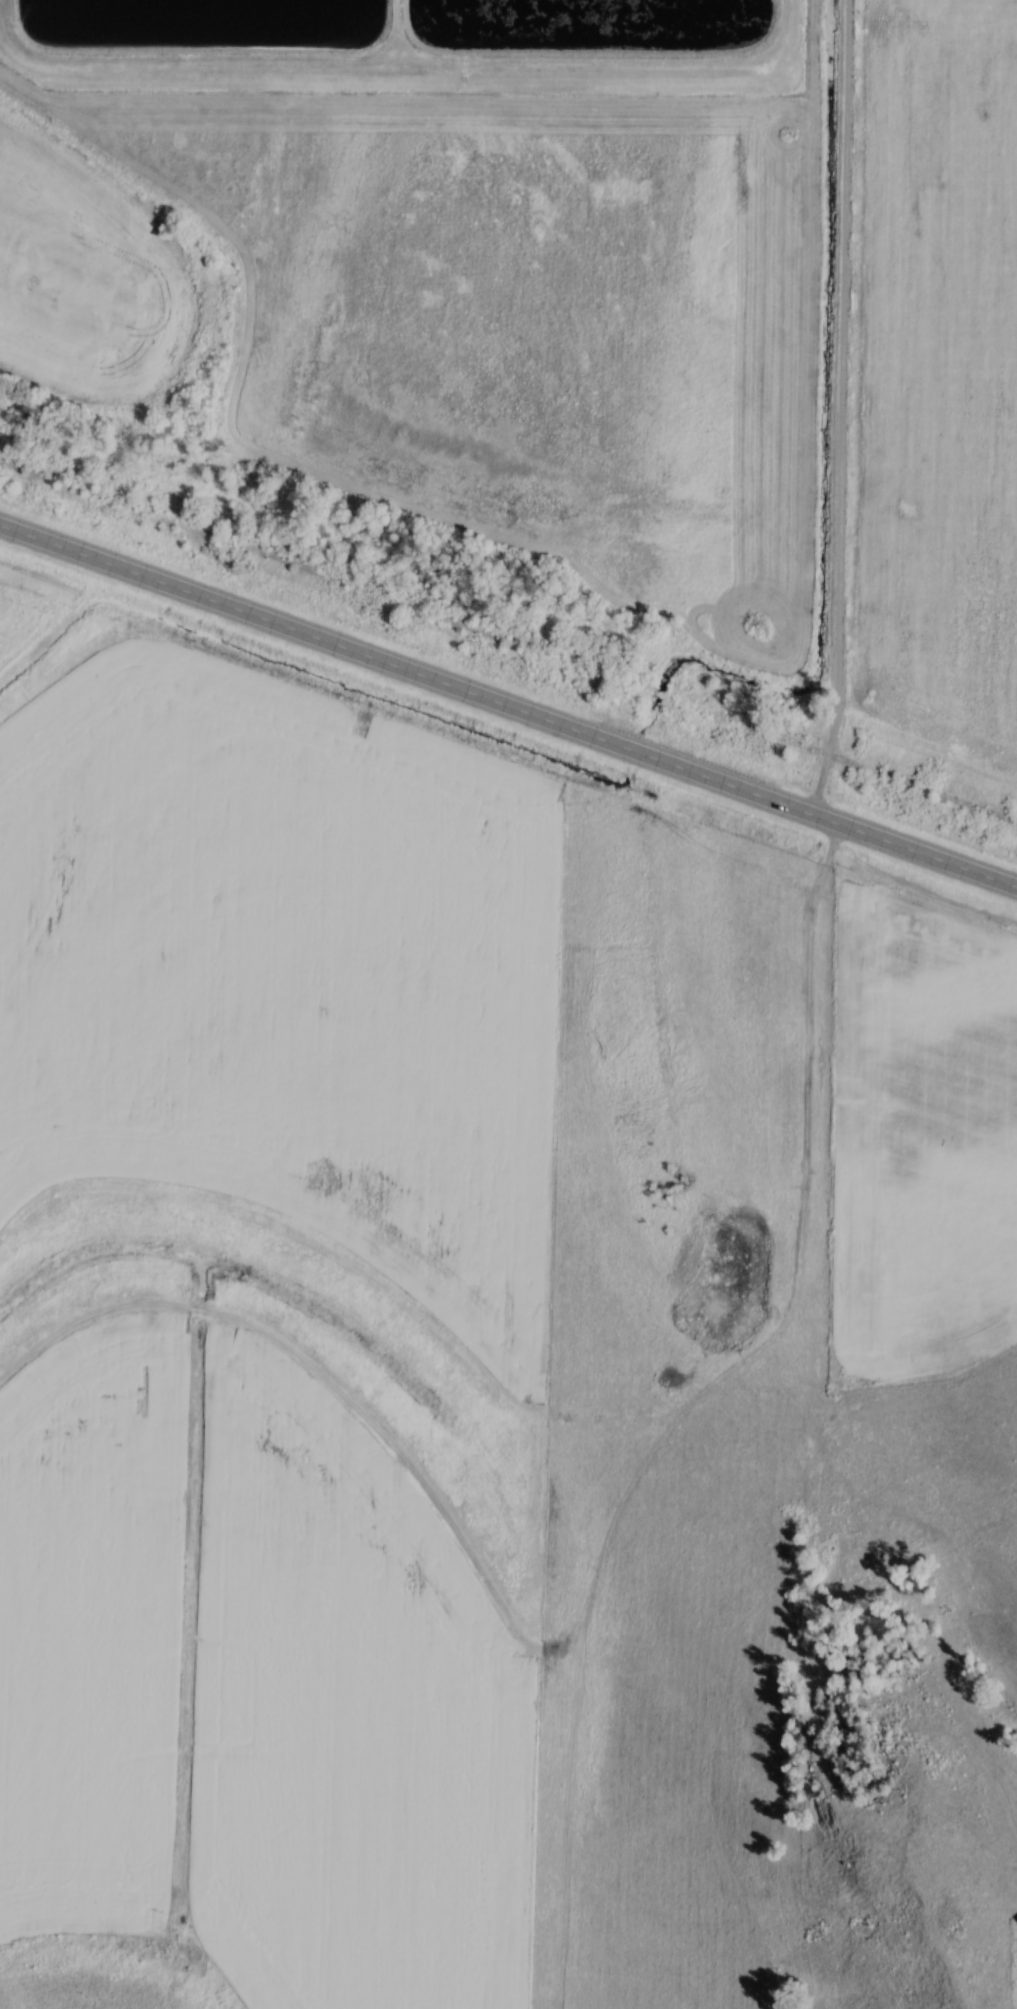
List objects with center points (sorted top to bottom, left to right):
road: (843, 408)
road: (508, 705)

